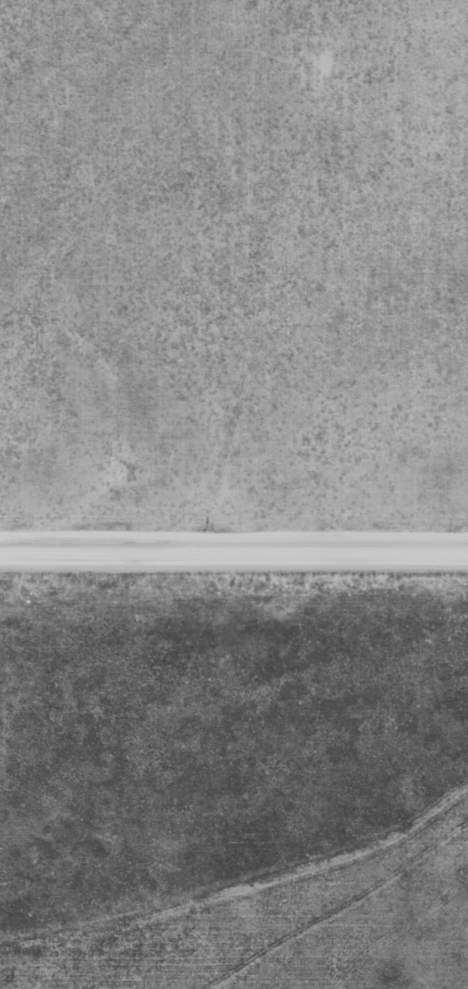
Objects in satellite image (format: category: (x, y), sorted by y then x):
road: (234, 555)

